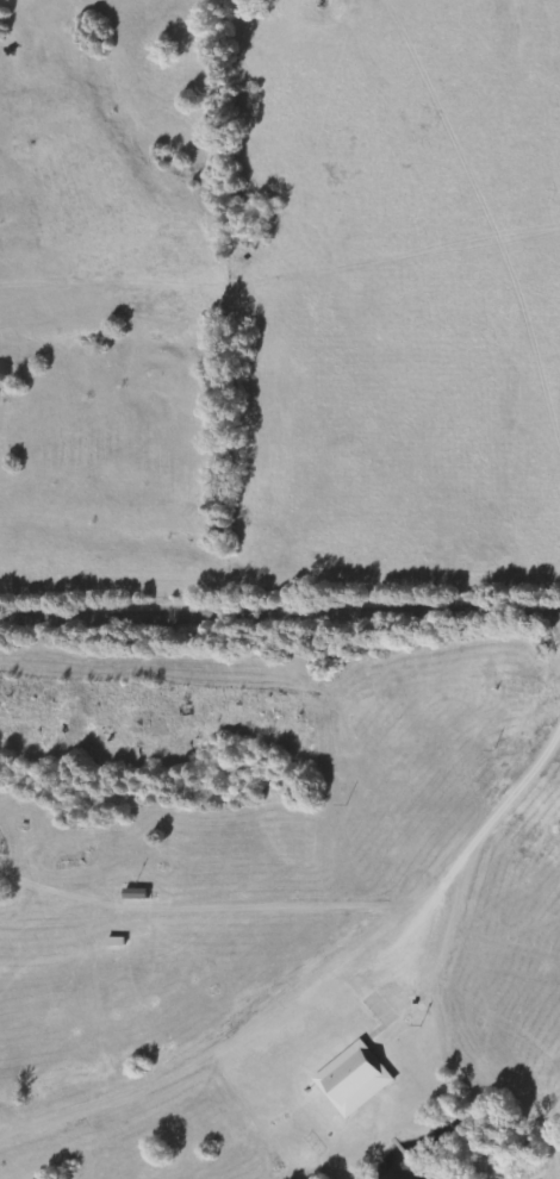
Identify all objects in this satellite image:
road: (280, 606)
building: (359, 1081)

